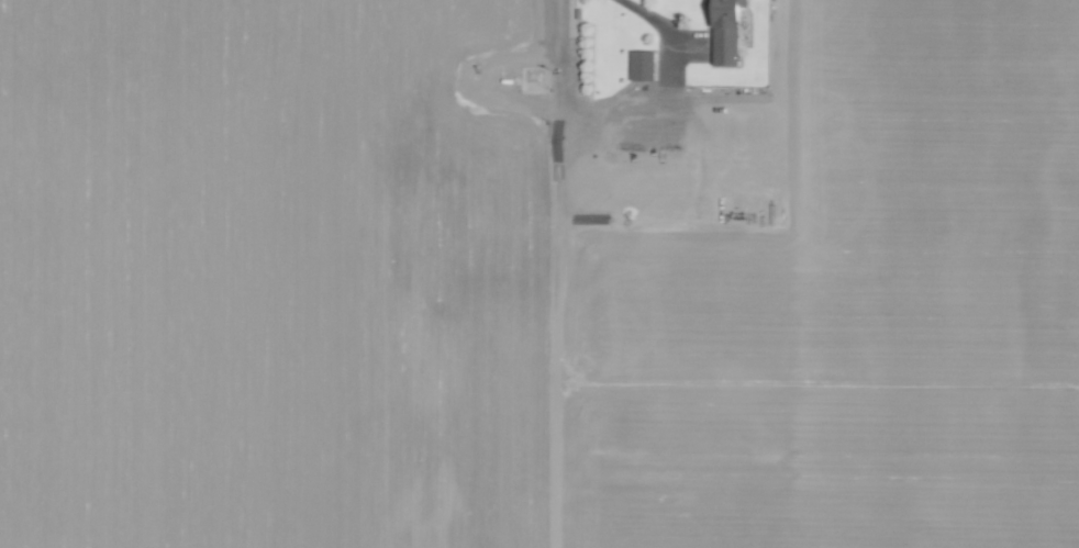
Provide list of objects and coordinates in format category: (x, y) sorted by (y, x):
building: (727, 30)
road: (667, 79)
road: (782, 89)
road: (564, 92)
crop: (539, 273)

